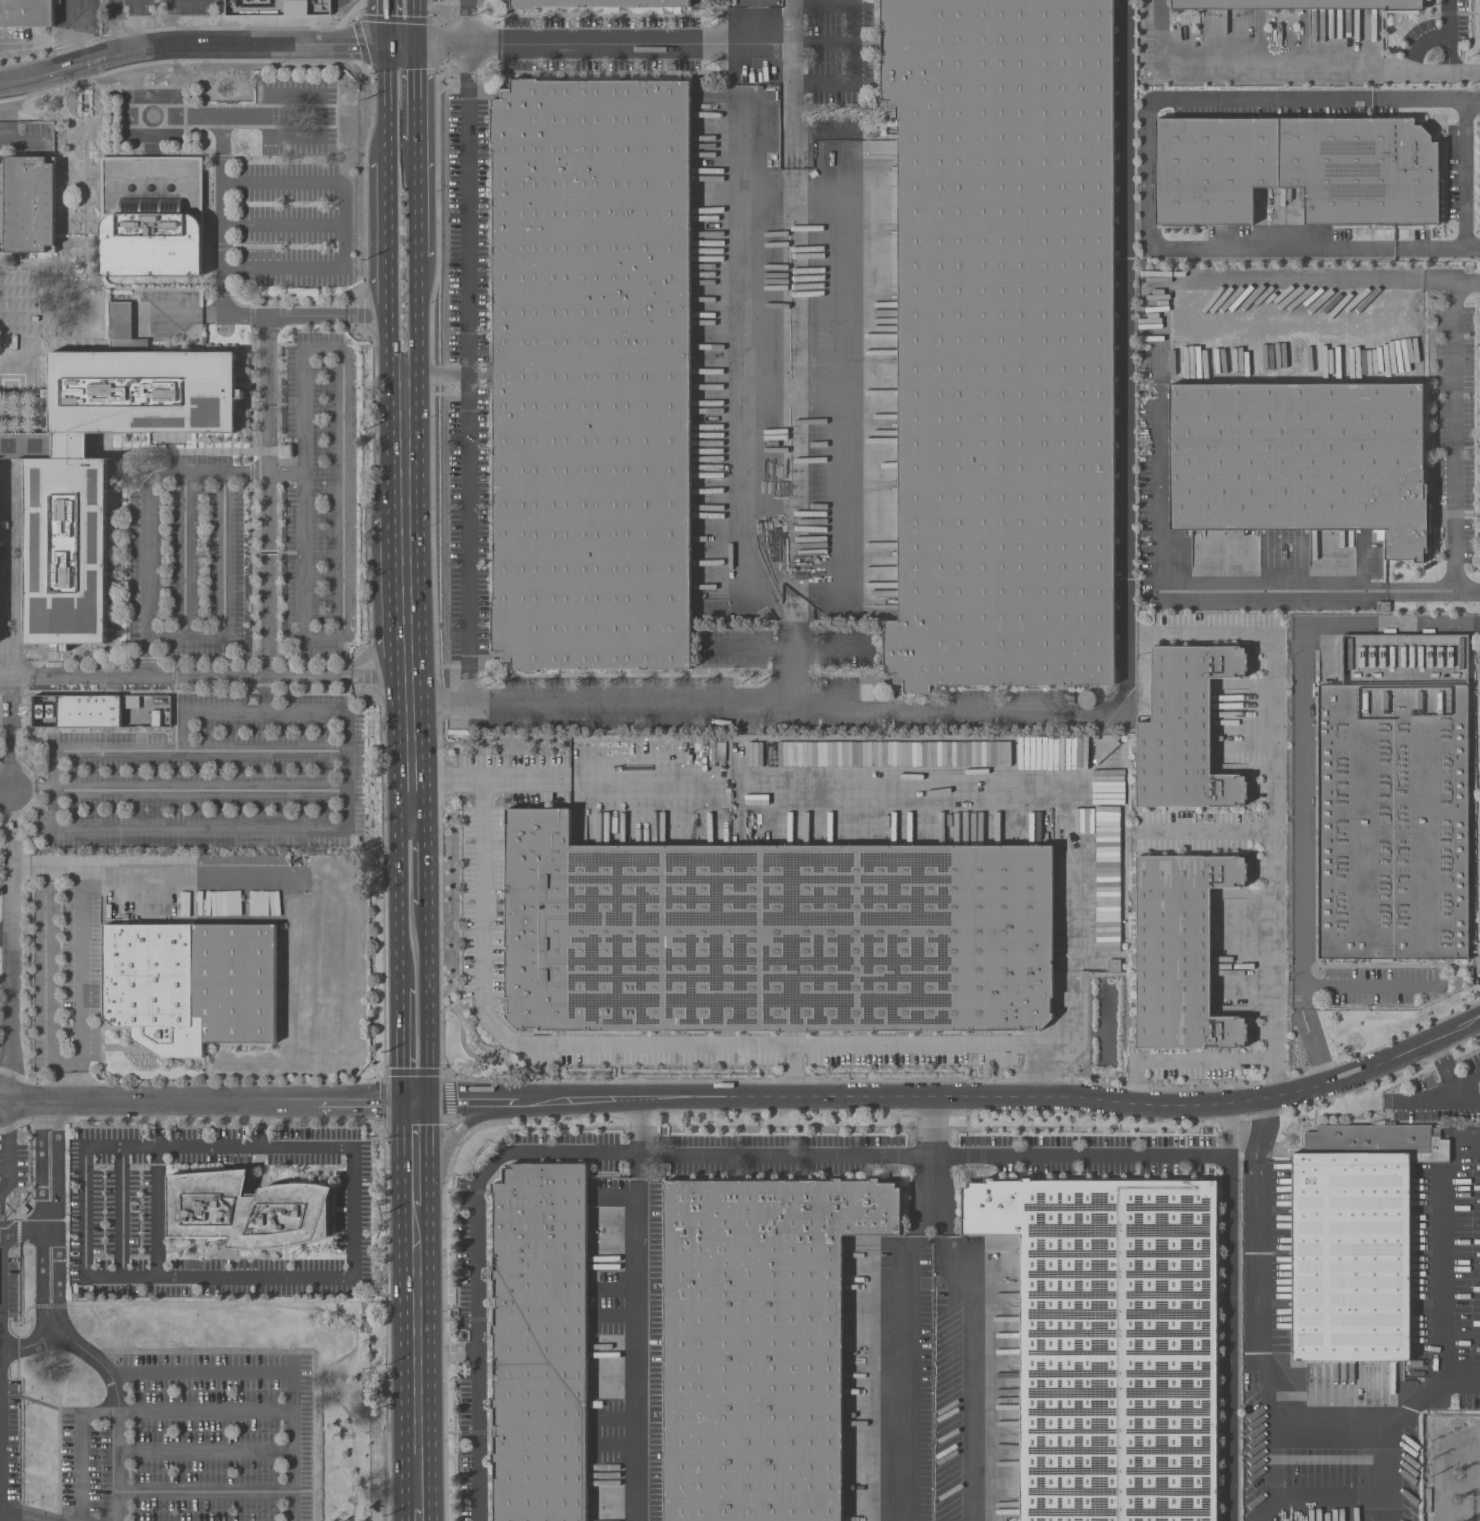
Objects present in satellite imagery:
building: (1309, 2)
building: (600, 4)
building: (264, 7)
building: (26, 13)
road: (416, 22)
road: (469, 22)
road: (386, 23)
road: (790, 23)
road: (115, 28)
road: (75, 33)
road: (38, 43)
road: (822, 43)
road: (855, 43)
traffic signals: (417, 45)
road: (588, 45)
road: (196, 46)
traffic signals: (387, 46)
road: (1453, 53)
road: (1242, 61)
road: (1412, 61)
road: (132, 70)
road: (1395, 71)
road: (4, 85)
road: (162, 93)
road: (416, 94)
road: (387, 101)
road: (791, 101)
road: (3, 111)
road: (142, 130)
road: (416, 163)
road: (1148, 171)
building: (1298, 171)
road: (1464, 172)
building: (28, 204)
building: (152, 215)
road: (418, 221)
road: (342, 224)
road: (387, 233)
road: (222, 281)
building: (124, 326)
building: (996, 342)
road: (470, 370)
road: (445, 374)
building: (594, 376)
road: (265, 394)
road: (390, 403)
road: (1158, 433)
road: (1455, 435)
building: (1307, 459)
building: (101, 469)
road: (1127, 514)
road: (146, 517)
road: (393, 518)
road: (303, 545)
road: (265, 574)
building: (1384, 606)
road: (394, 608)
road: (792, 649)
road: (215, 676)
road: (424, 680)
road: (266, 694)
road: (615, 696)
building: (1067, 698)
building: (1087, 699)
storage tank: (1087, 699)
building: (93, 709)
road: (265, 712)
building: (155, 717)
road: (1303, 724)
building: (1186, 729)
road: (12, 733)
road: (201, 753)
building: (537, 759)
road: (412, 778)
road: (1275, 795)
building: (1396, 795)
road: (12, 797)
road: (12, 809)
road: (320, 827)
road: (1207, 828)
road: (398, 829)
road: (47, 865)
road: (141, 871)
road: (6, 934)
building: (774, 935)
building: (1181, 952)
building: (1113, 965)
road: (11, 971)
road: (49, 972)
road: (79, 983)
building: (191, 984)
road: (1365, 984)
road: (1299, 1000)
road: (402, 1043)
road: (1039, 1044)
road: (1186, 1060)
road: (1318, 1061)
road: (1044, 1069)
road: (793, 1070)
road: (1457, 1088)
road: (1455, 1089)
road: (957, 1094)
road: (209, 1101)
traffic signals: (419, 1101)
road: (259, 1123)
road: (456, 1130)
road: (11, 1148)
road: (418, 1153)
road: (563, 1155)
road: (1082, 1155)
building: (248, 1210)
road: (123, 1212)
road: (156, 1212)
road: (25, 1228)
road: (51, 1254)
building: (1353, 1259)
road: (1443, 1275)
road: (260, 1278)
road: (635, 1309)
road: (1230, 1311)
road: (959, 1335)
road: (3, 1341)
building: (545, 1344)
building: (760, 1345)
building: (1117, 1347)
road: (448, 1350)
road: (415, 1355)
road: (92, 1356)
road: (906, 1356)
building: (1417, 1362)
road: (197, 1372)
road: (208, 1410)
road: (1328, 1417)
road: (82, 1444)
road: (0, 1448)
road: (208, 1450)
parking lot: (10, 1452)
road: (1266, 1453)
parking lot: (196, 1455)
road: (120, 1459)
road: (296, 1465)
power substation: (1452, 1467)
road: (208, 1493)
road: (415, 1513)
road: (21, 1517)

